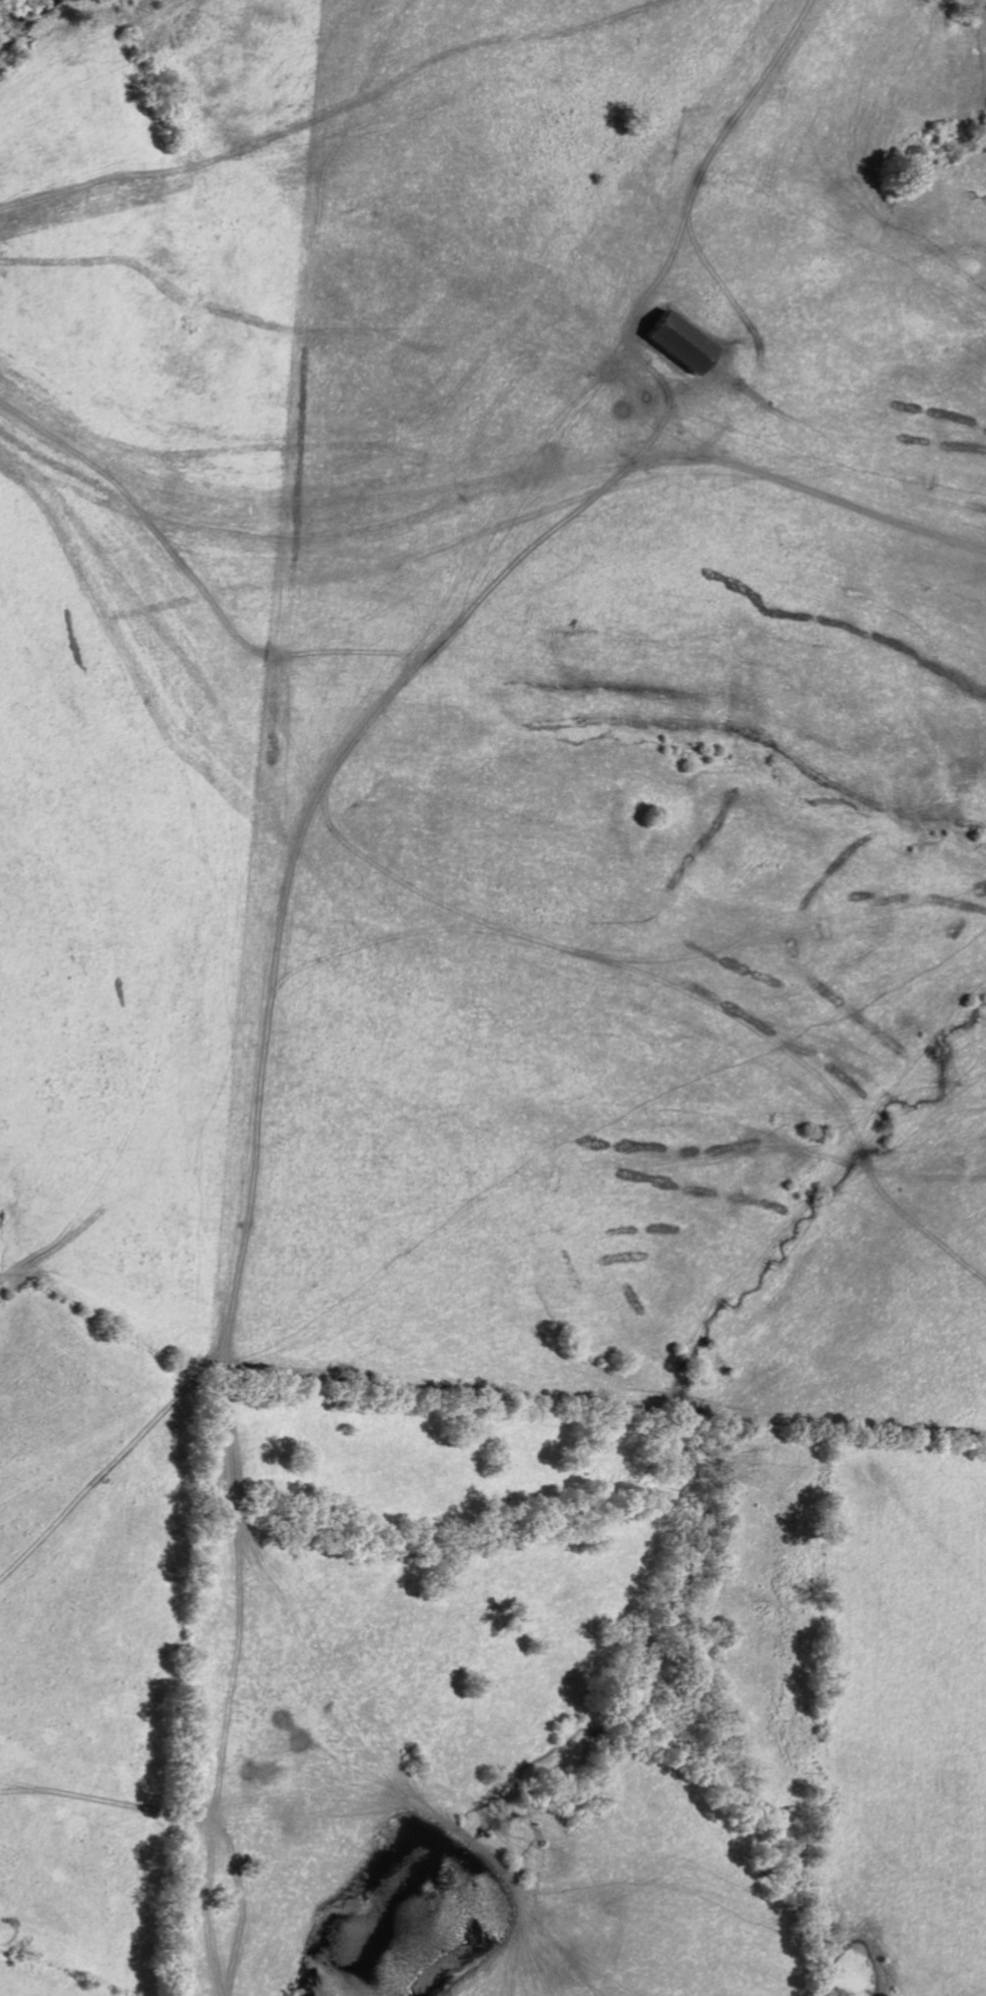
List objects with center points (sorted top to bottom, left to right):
building: (681, 343)
road: (466, 457)

